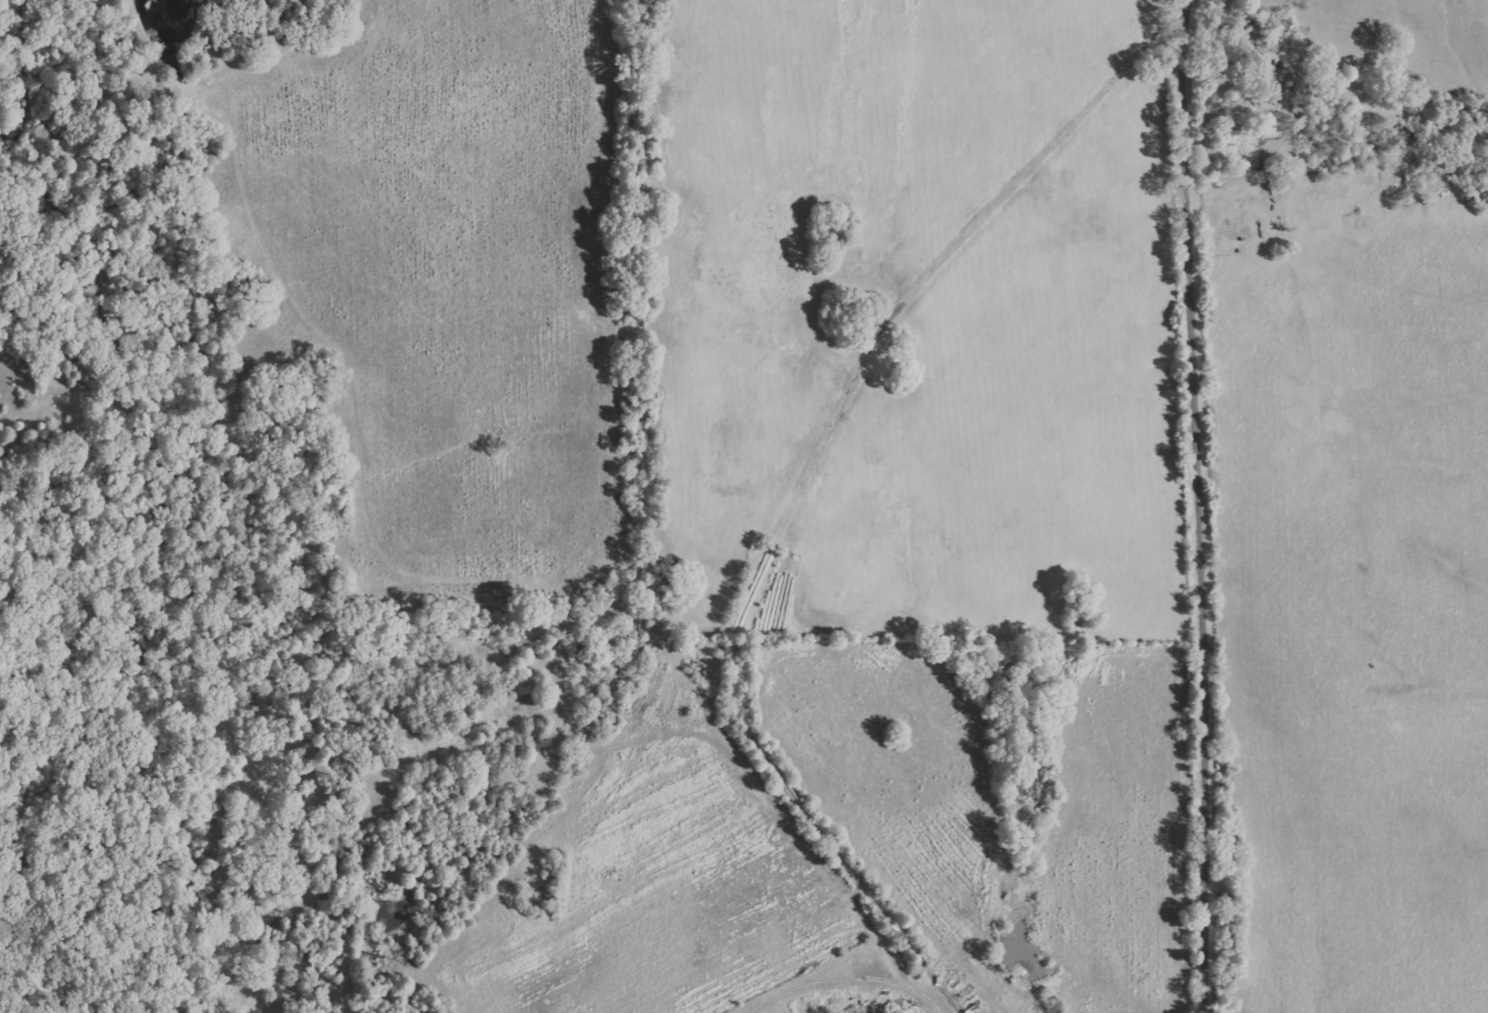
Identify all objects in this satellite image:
road: (1201, 505)

